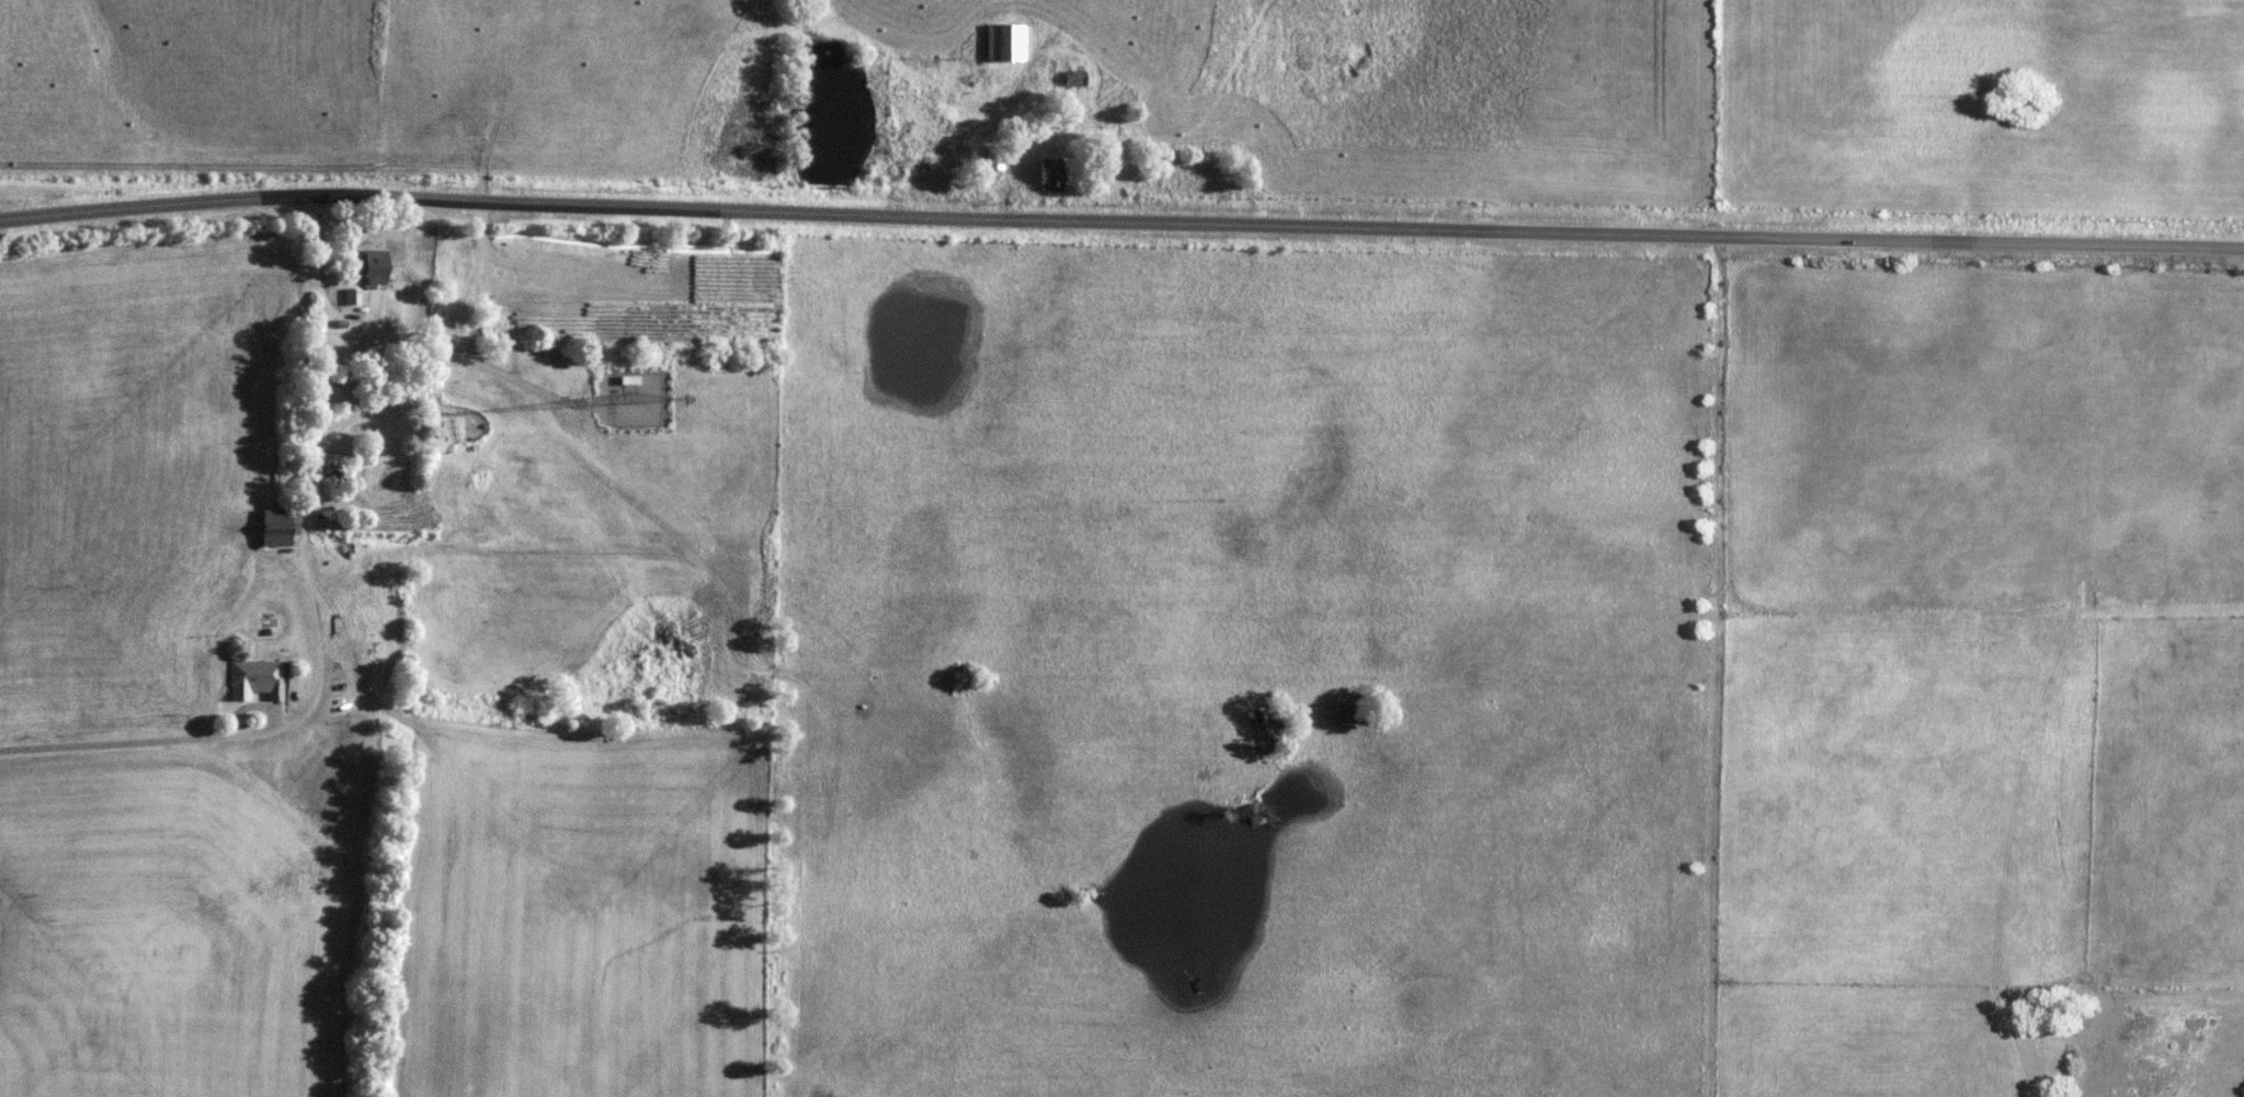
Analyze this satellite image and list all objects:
building: (1002, 42)
building: (1071, 78)
building: (992, 158)
building: (1048, 173)
road: (1121, 221)
building: (371, 265)
building: (349, 294)
road: (443, 354)
building: (402, 376)
building: (372, 378)
road: (310, 471)
building: (275, 526)
building: (254, 679)
road: (244, 733)
road: (107, 742)

